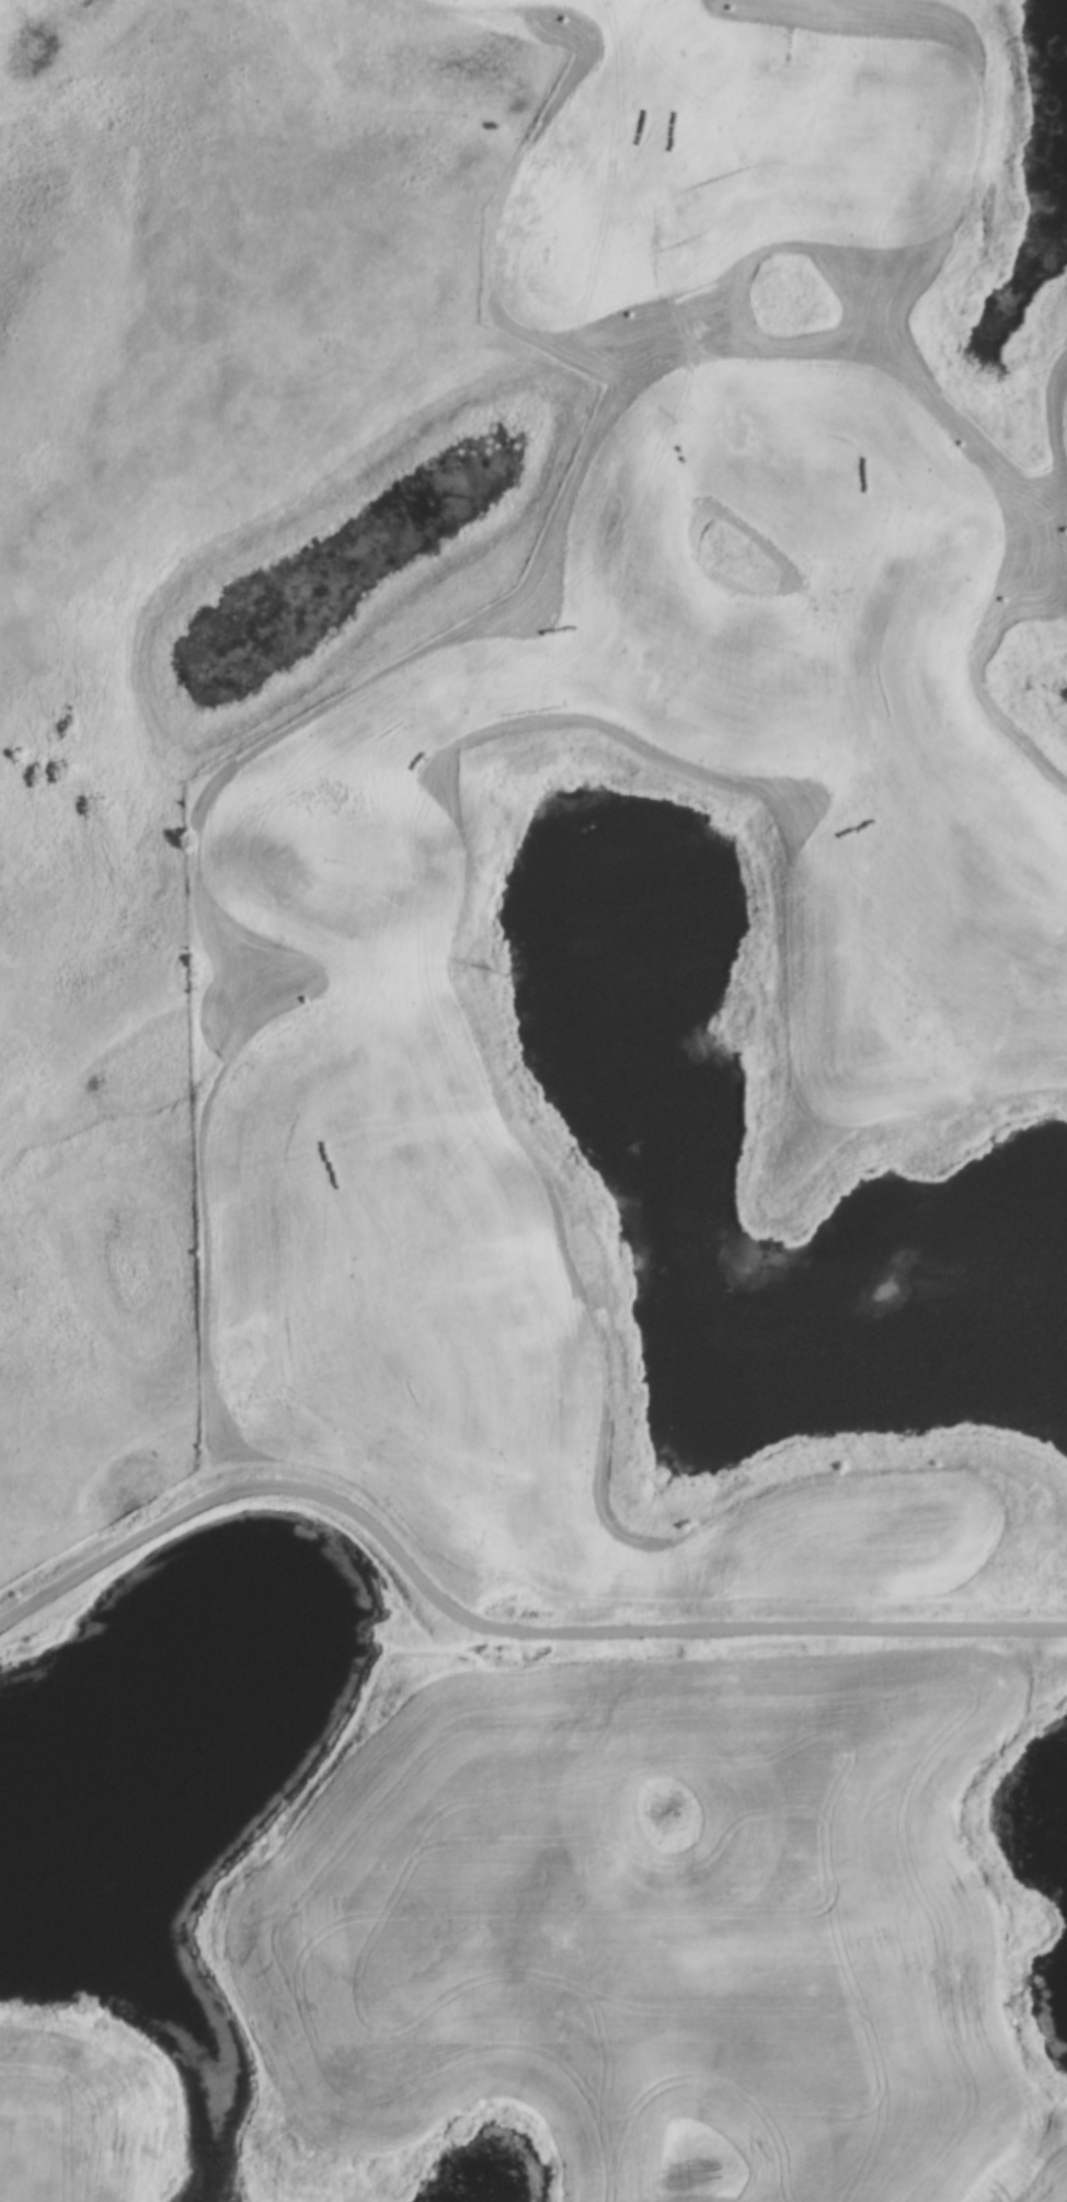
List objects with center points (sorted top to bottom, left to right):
road: (490, 1624)

